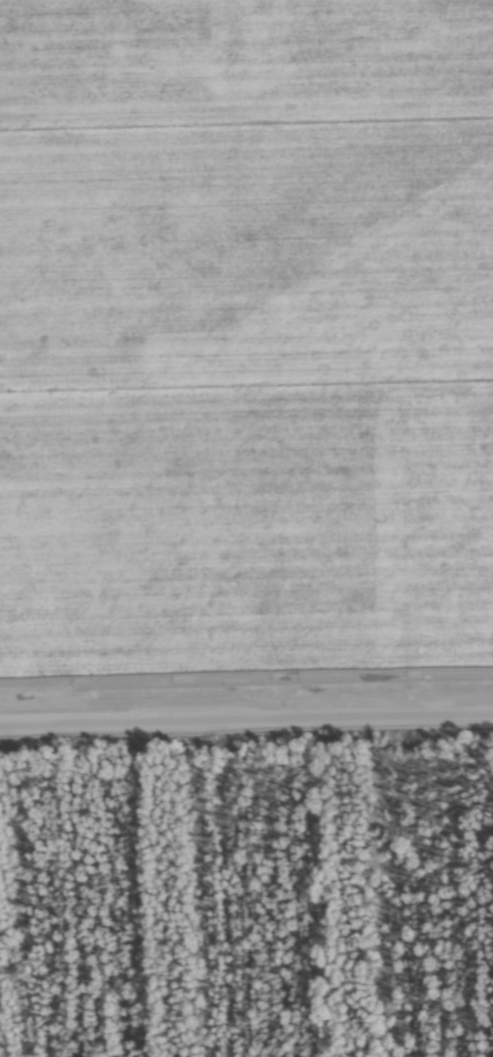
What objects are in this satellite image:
road: (246, 718)

